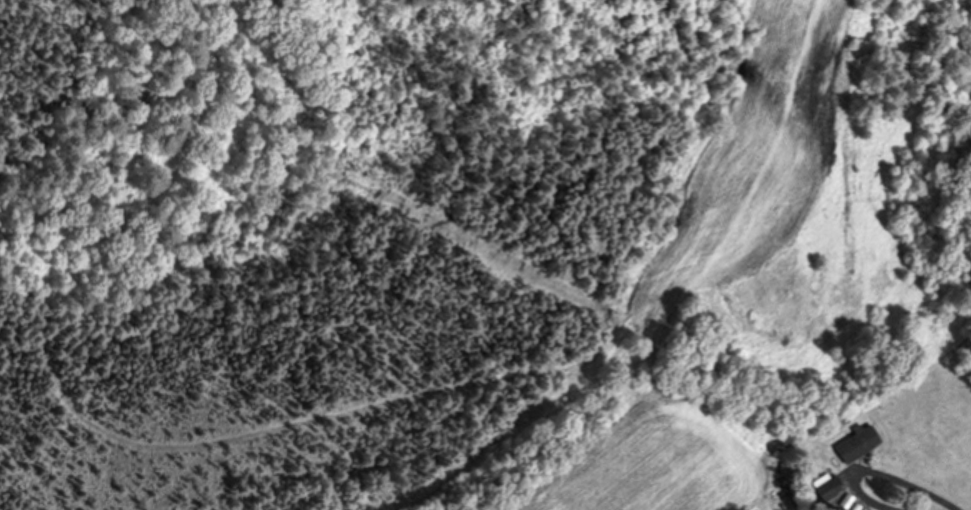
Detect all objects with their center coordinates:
building: (858, 442)

